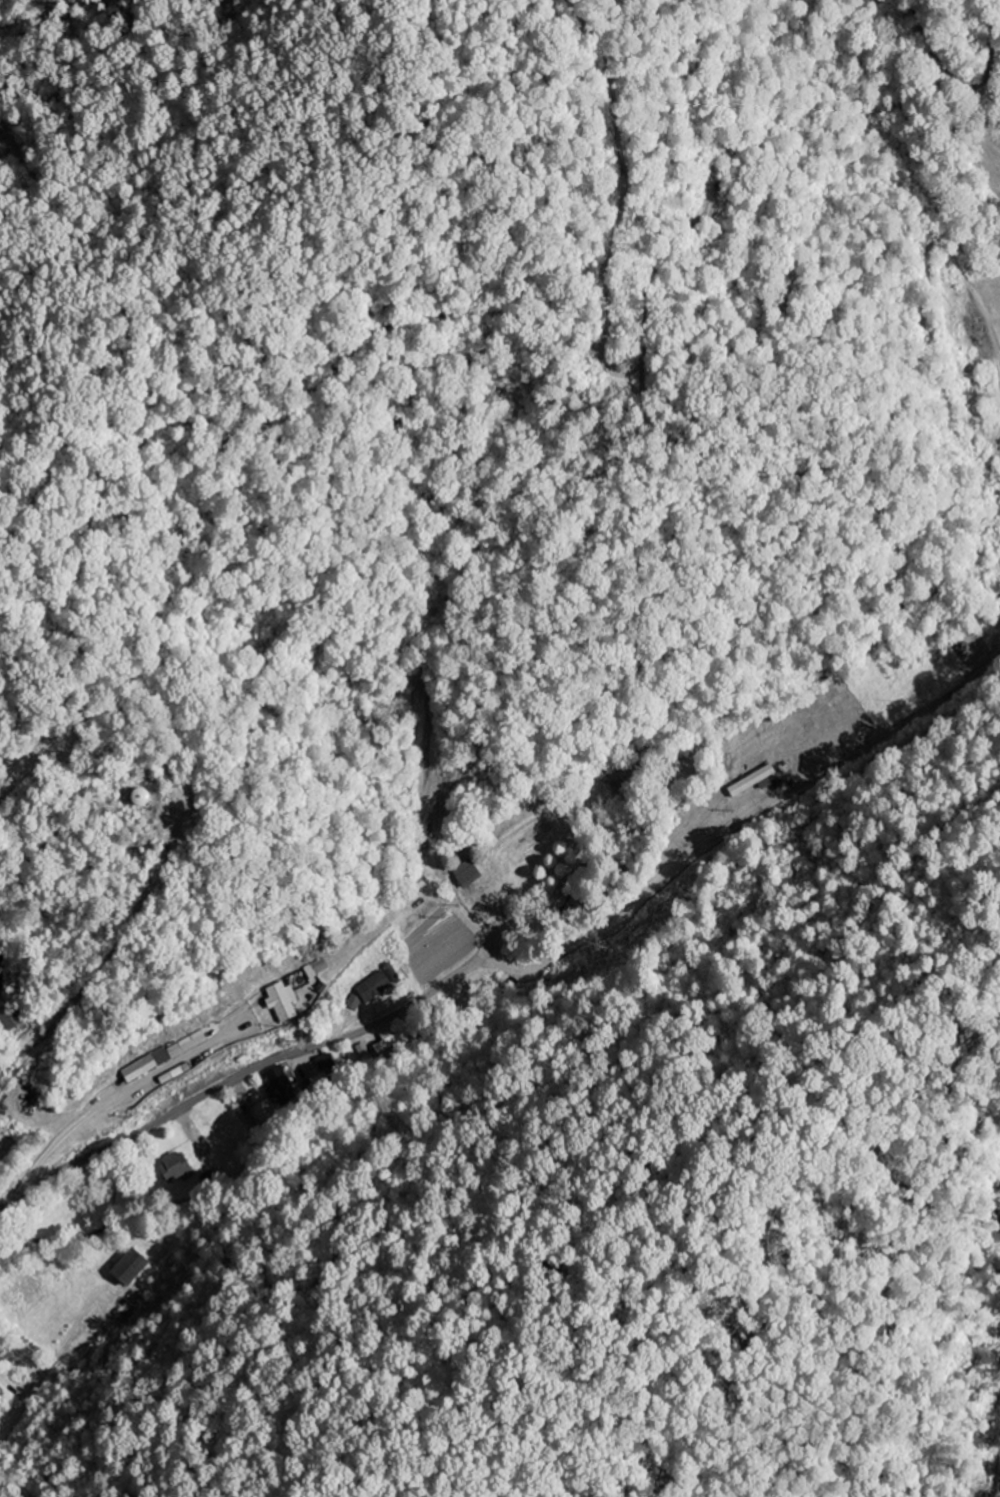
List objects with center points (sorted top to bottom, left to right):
building: (622, 781)
building: (137, 796)
building: (467, 874)
building: (316, 970)
building: (373, 988)
building: (280, 1002)
building: (354, 1003)
building: (390, 1041)
building: (144, 1066)
building: (276, 1078)
road: (244, 1081)
building: (251, 1118)
park: (5, 1146)
building: (174, 1167)
building: (127, 1268)

